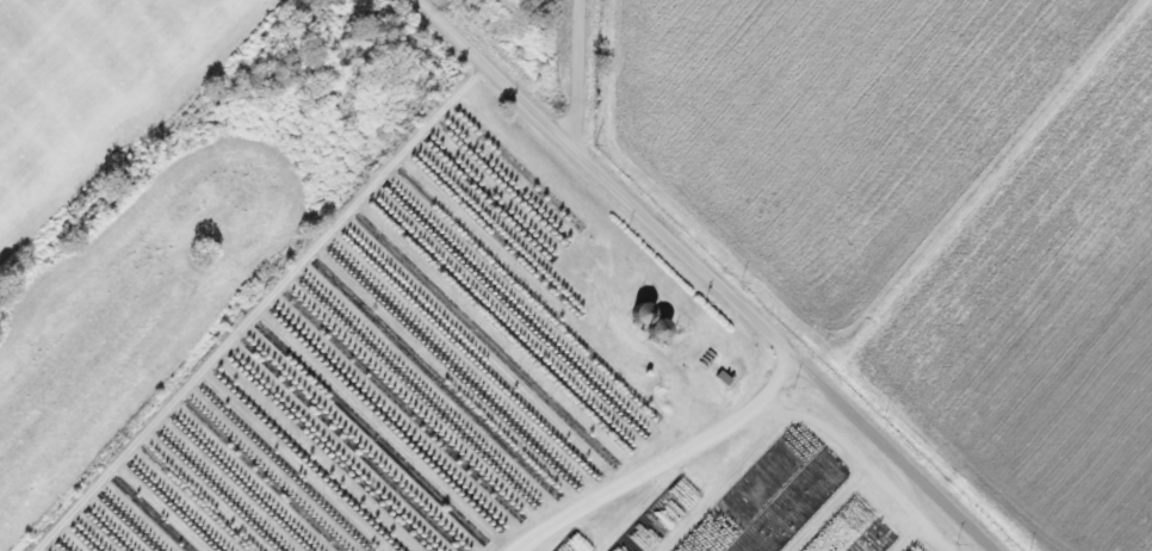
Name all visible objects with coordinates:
road: (572, 69)
road: (708, 274)
road: (655, 458)

